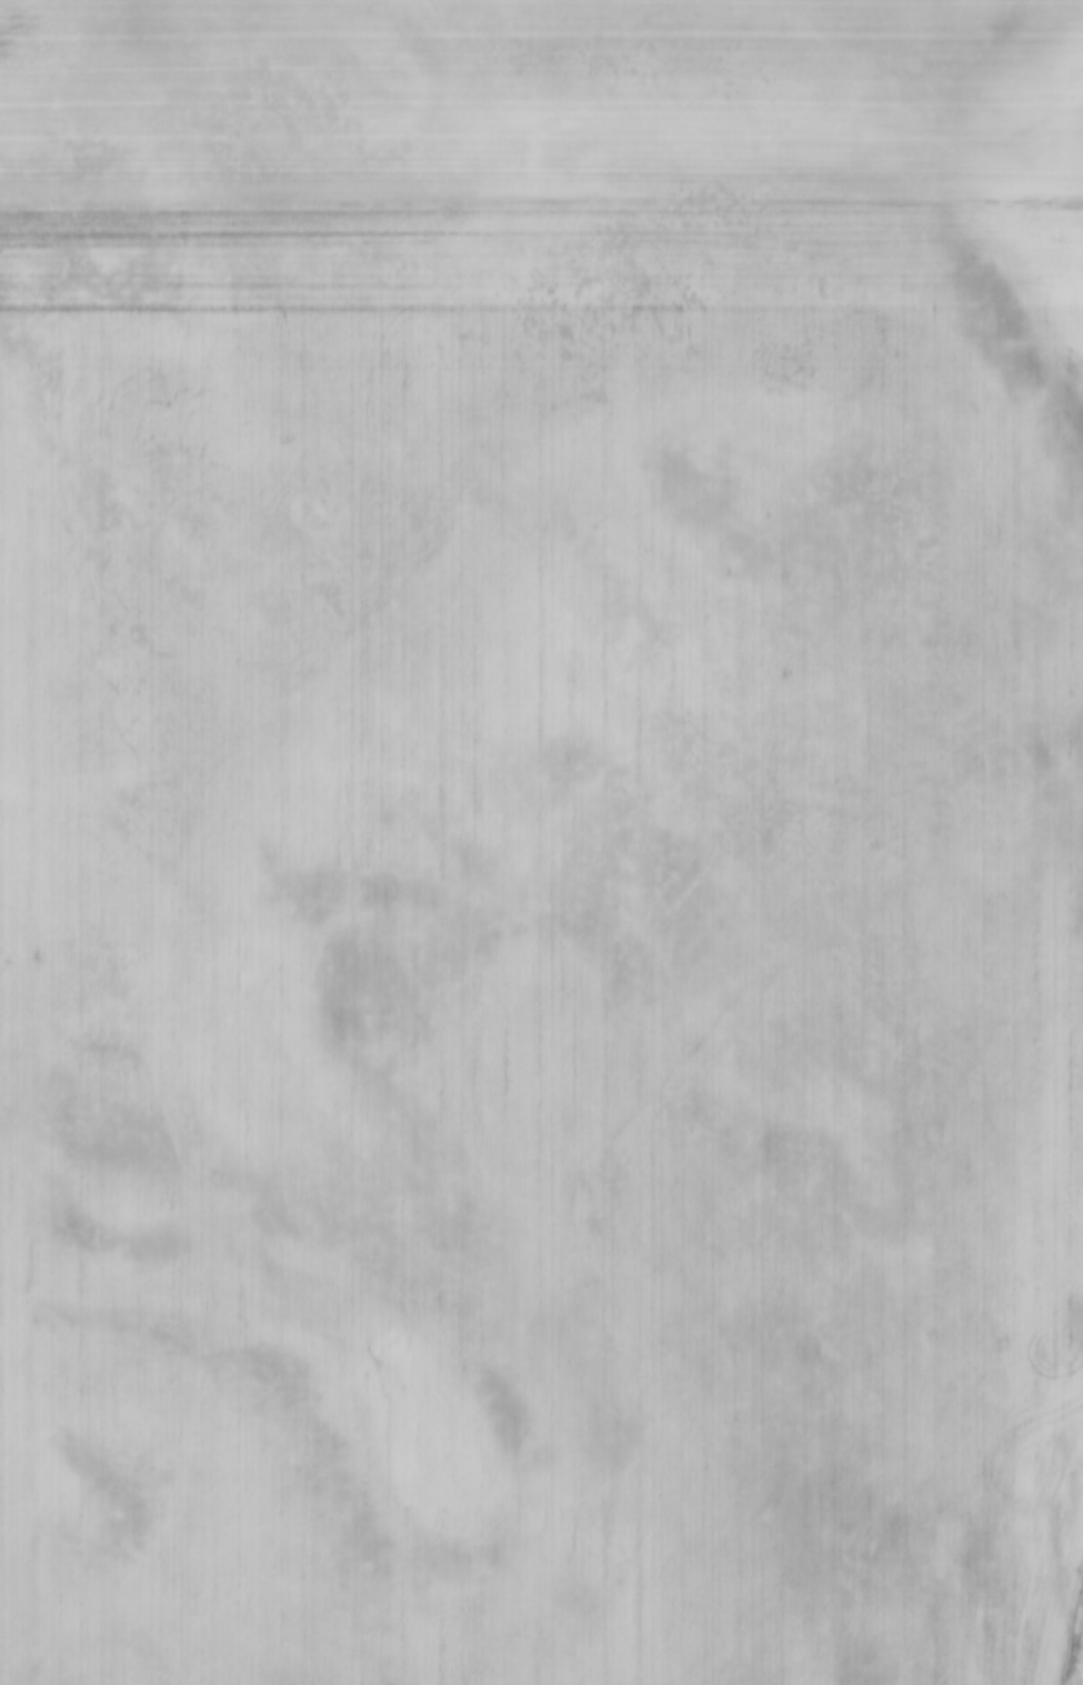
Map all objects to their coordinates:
road: (541, 209)

